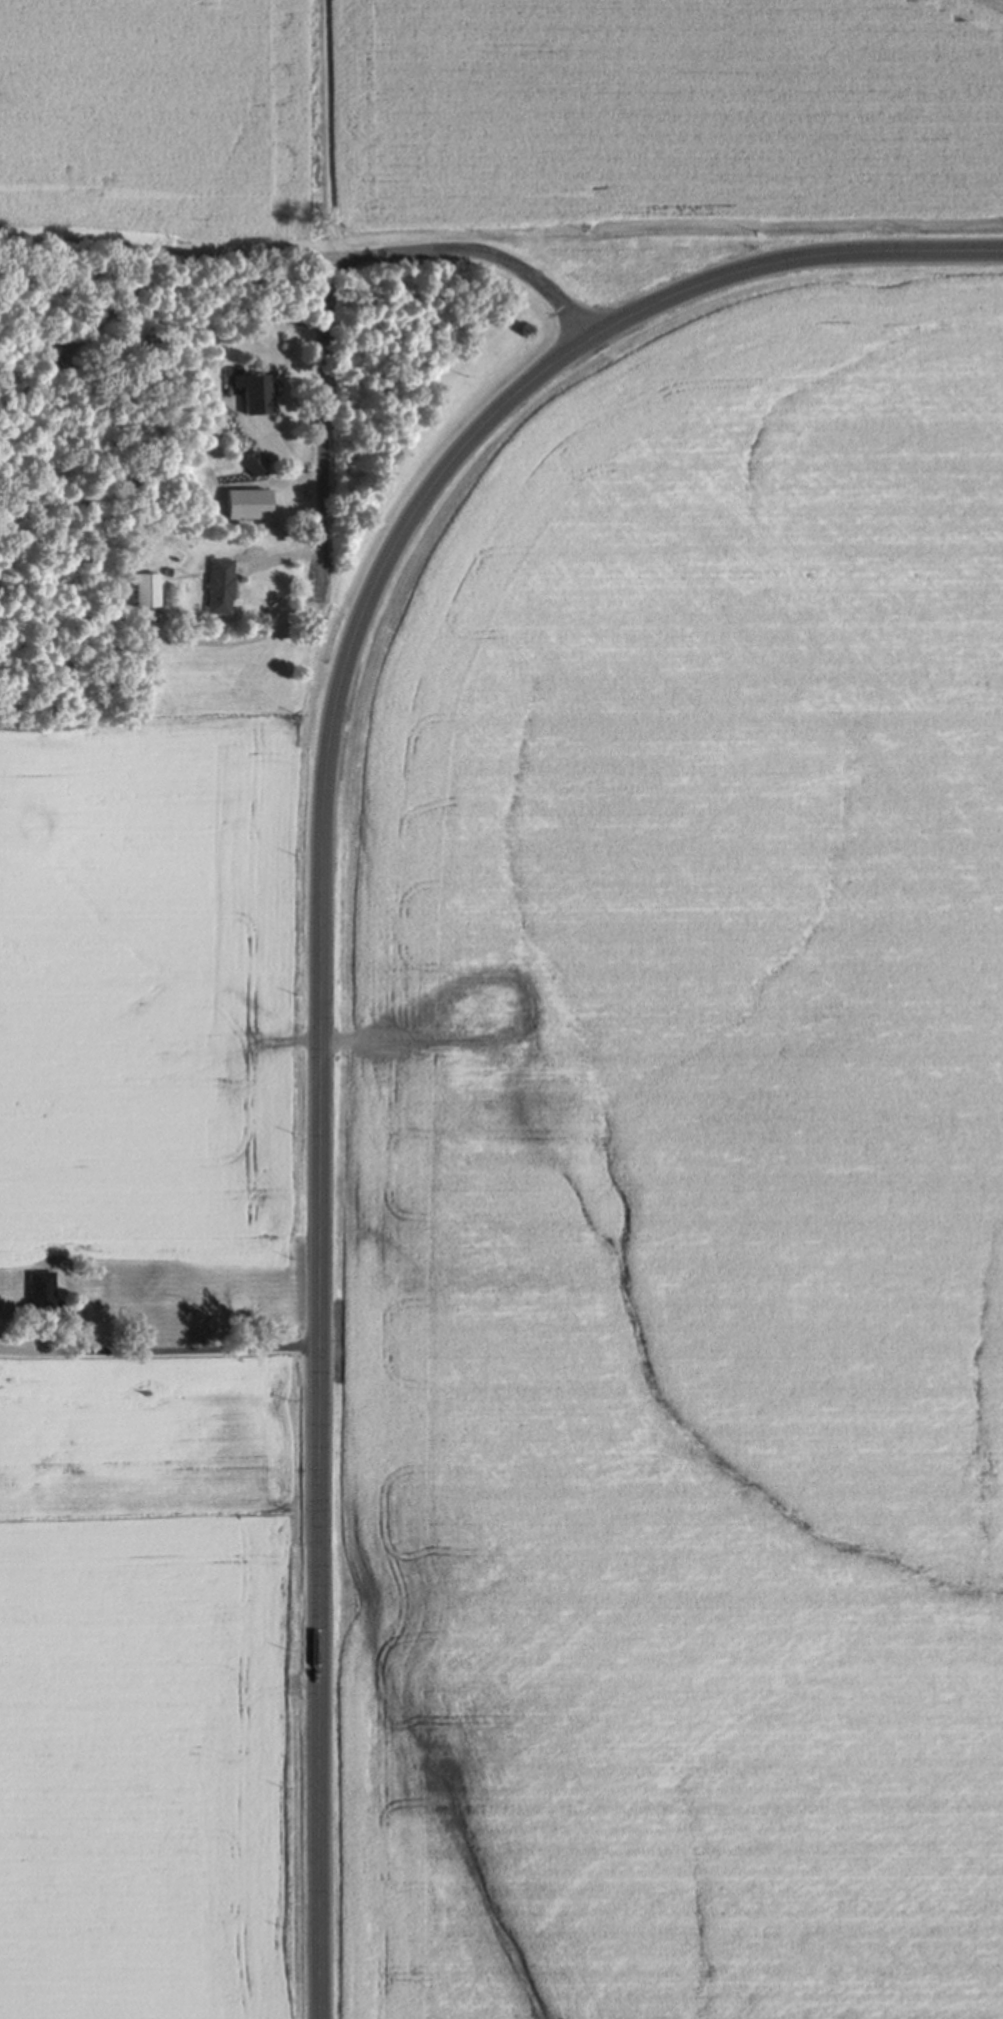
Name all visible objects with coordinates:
road: (95, 240)
road: (329, 286)
road: (108, 305)
building: (44, 346)
building: (253, 390)
road: (285, 457)
building: (254, 462)
building: (269, 507)
road: (278, 556)
road: (124, 565)
building: (218, 586)
building: (143, 588)
road: (230, 641)
road: (325, 919)
road: (326, 1045)
building: (39, 1291)
road: (160, 1349)

